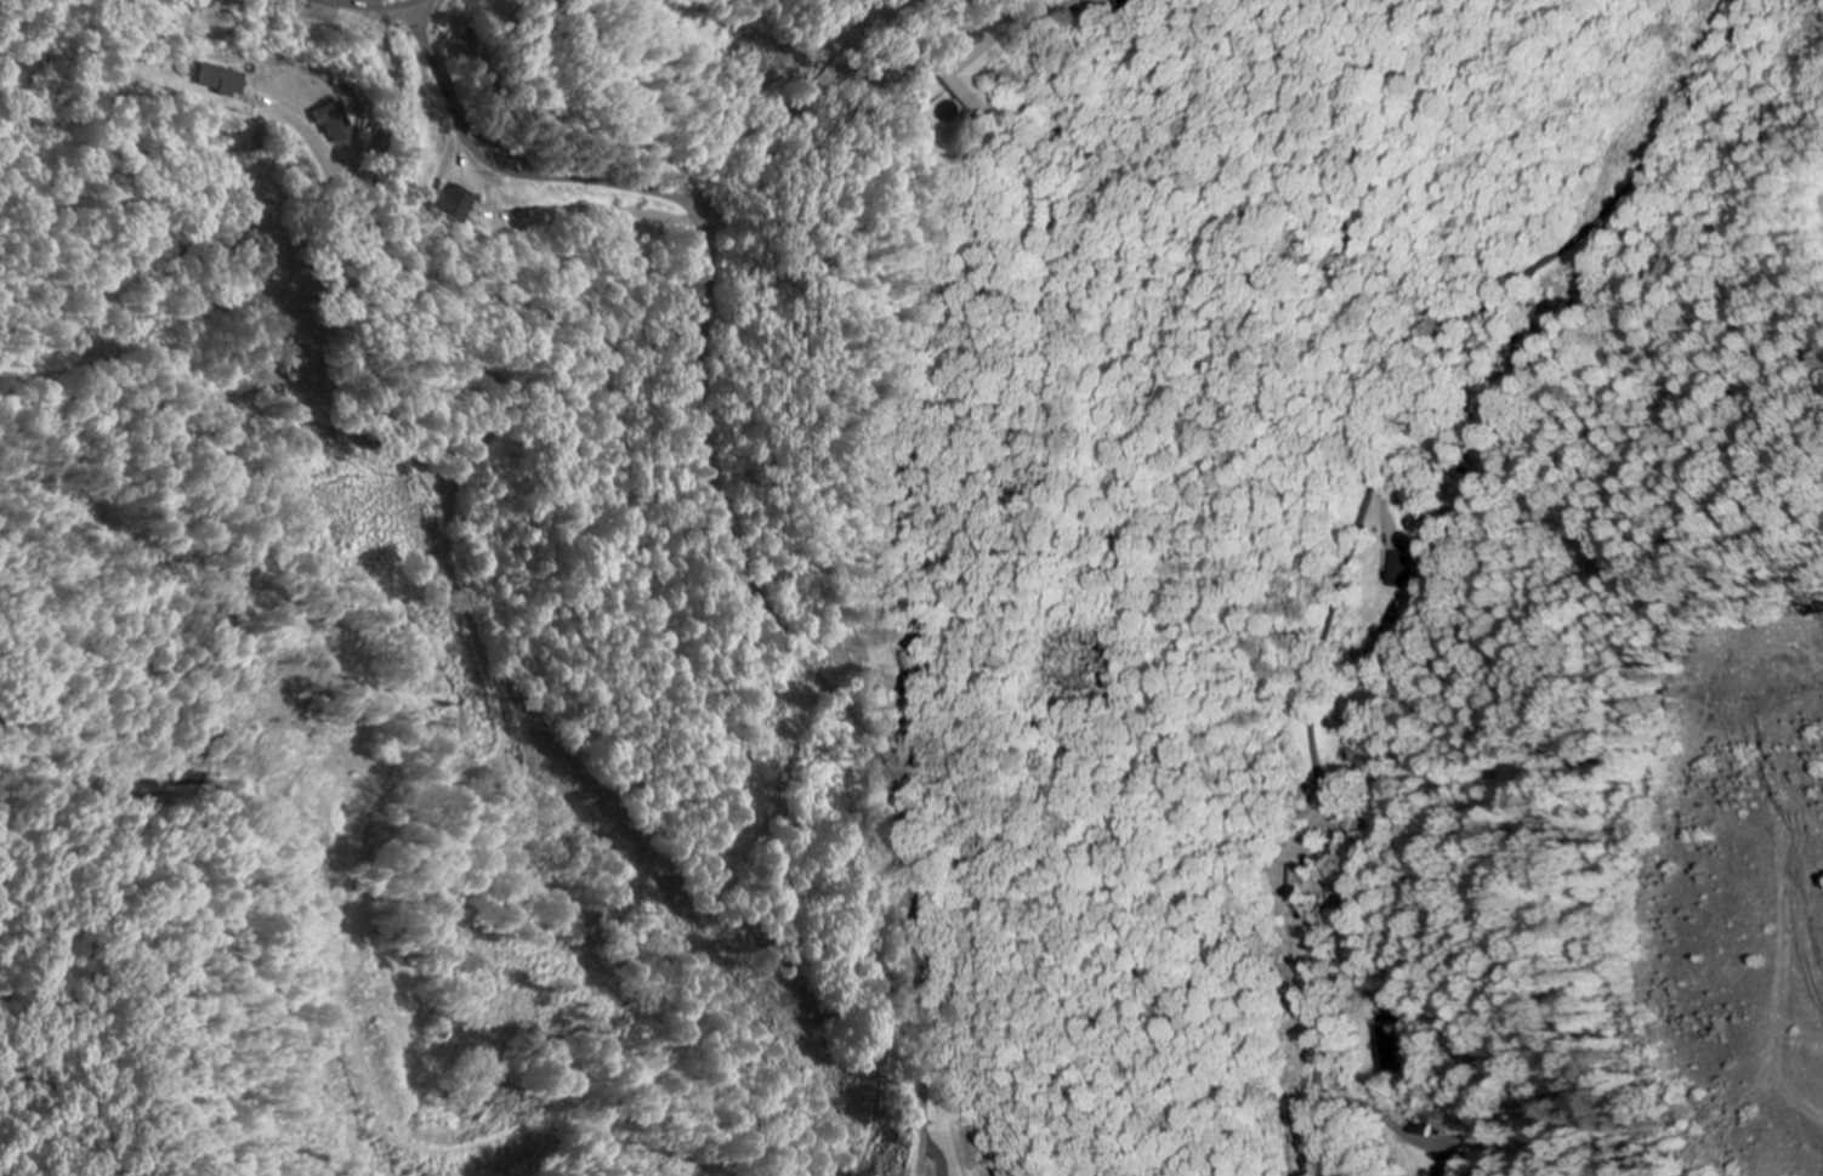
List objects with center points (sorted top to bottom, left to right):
road: (379, 0)
building: (1142, 2)
road: (958, 27)
building: (973, 76)
building: (226, 81)
building: (340, 125)
road: (776, 135)
building: (455, 205)
road: (729, 517)
road: (1262, 536)
building: (1404, 569)
road: (478, 626)
building: (1390, 1040)

